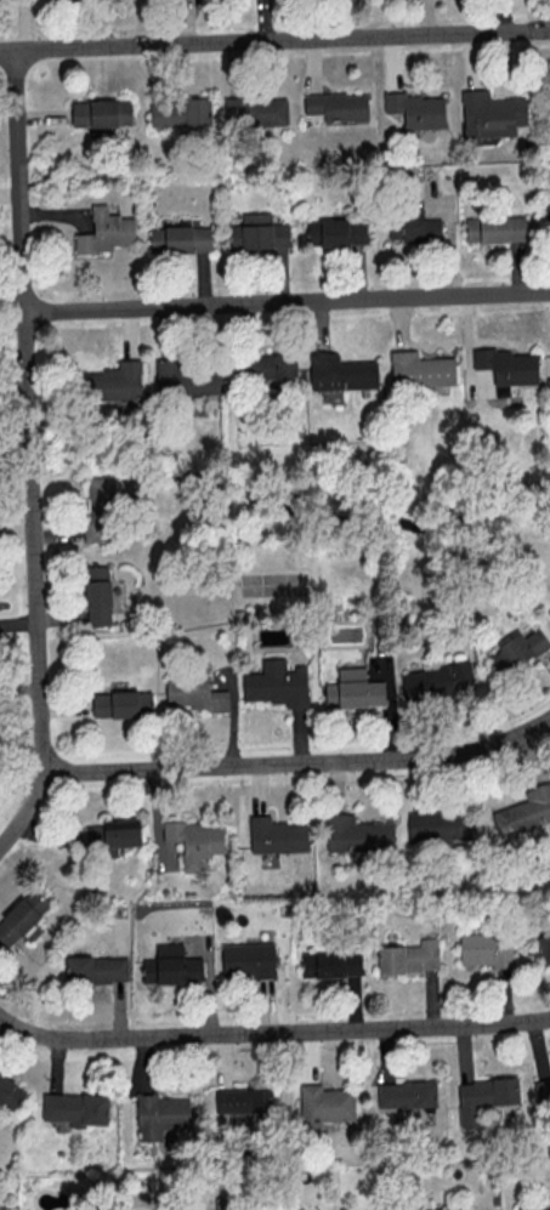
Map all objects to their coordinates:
road: (274, 40)
building: (338, 106)
building: (415, 108)
building: (255, 110)
building: (101, 112)
building: (180, 112)
building: (491, 113)
building: (548, 212)
building: (414, 226)
building: (495, 228)
building: (106, 231)
building: (259, 232)
building: (336, 232)
road: (22, 233)
building: (181, 238)
road: (288, 301)
building: (506, 364)
building: (271, 365)
building: (420, 369)
building: (341, 371)
building: (186, 379)
building: (113, 381)
road: (29, 437)
building: (100, 510)
building: (97, 595)
building: (549, 610)
building: (516, 651)
road: (39, 659)
building: (437, 681)
building: (277, 683)
building: (353, 689)
building: (193, 693)
building: (121, 704)
road: (300, 762)
building: (525, 811)
building: (440, 825)
building: (357, 834)
building: (113, 835)
building: (277, 835)
building: (194, 841)
building: (21, 916)
building: (543, 945)
building: (486, 948)
building: (409, 956)
building: (248, 959)
building: (331, 962)
building: (171, 965)
building: (95, 970)
road: (272, 1032)
building: (543, 1091)
building: (10, 1092)
building: (406, 1093)
building: (484, 1096)
building: (243, 1100)
building: (324, 1104)
building: (75, 1108)
building: (160, 1114)
building: (227, 1203)
building: (534, 1208)
building: (460, 1209)

